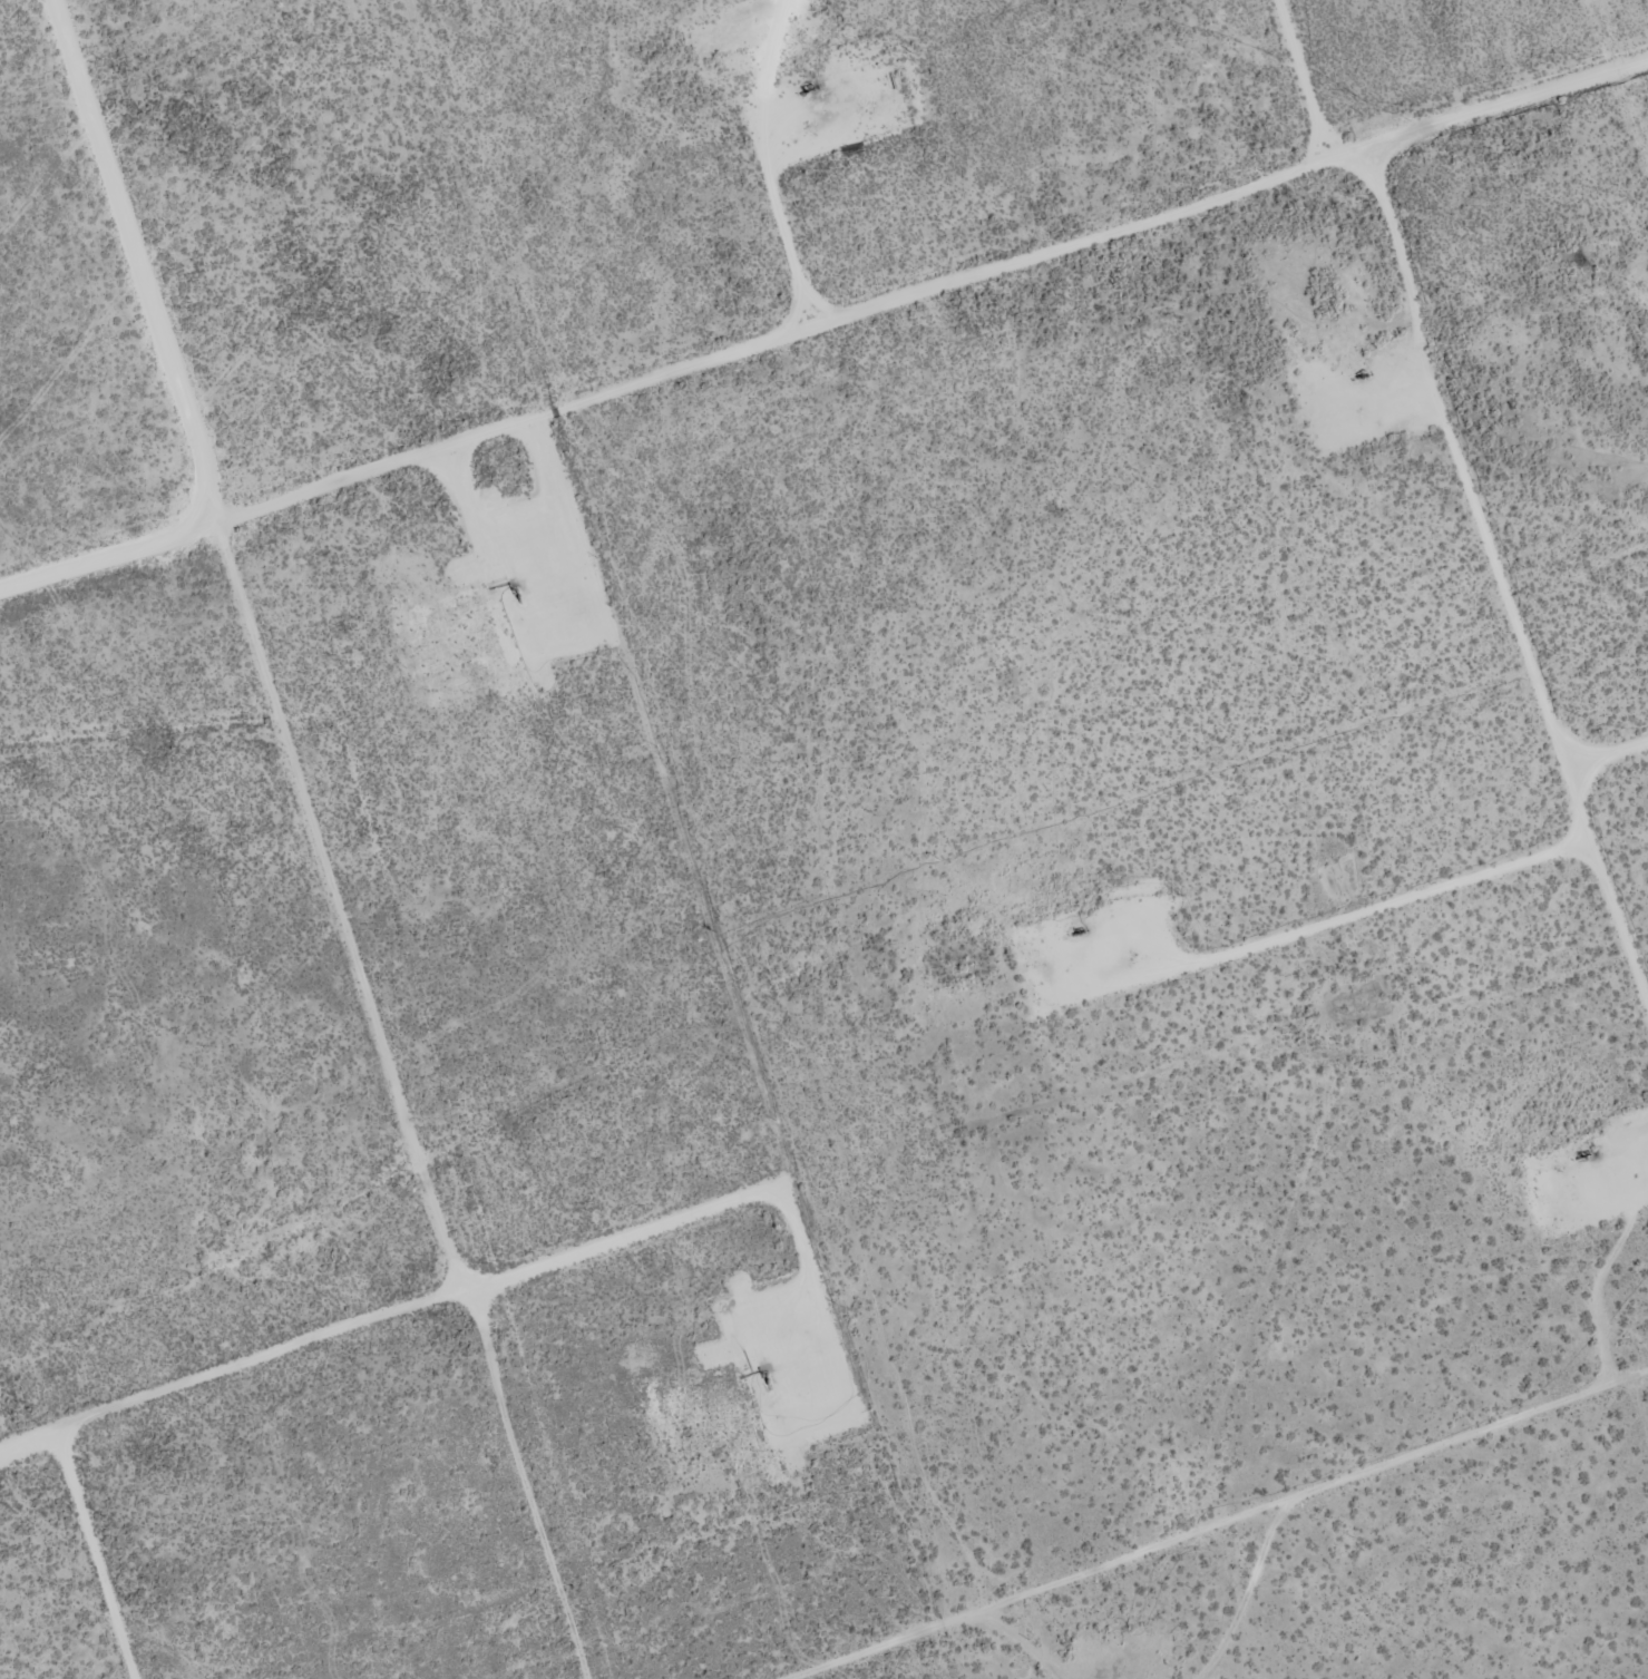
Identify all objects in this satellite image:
road: (825, 330)
road: (313, 840)
road: (1537, 996)
road: (231, 1364)
road: (1231, 1529)

